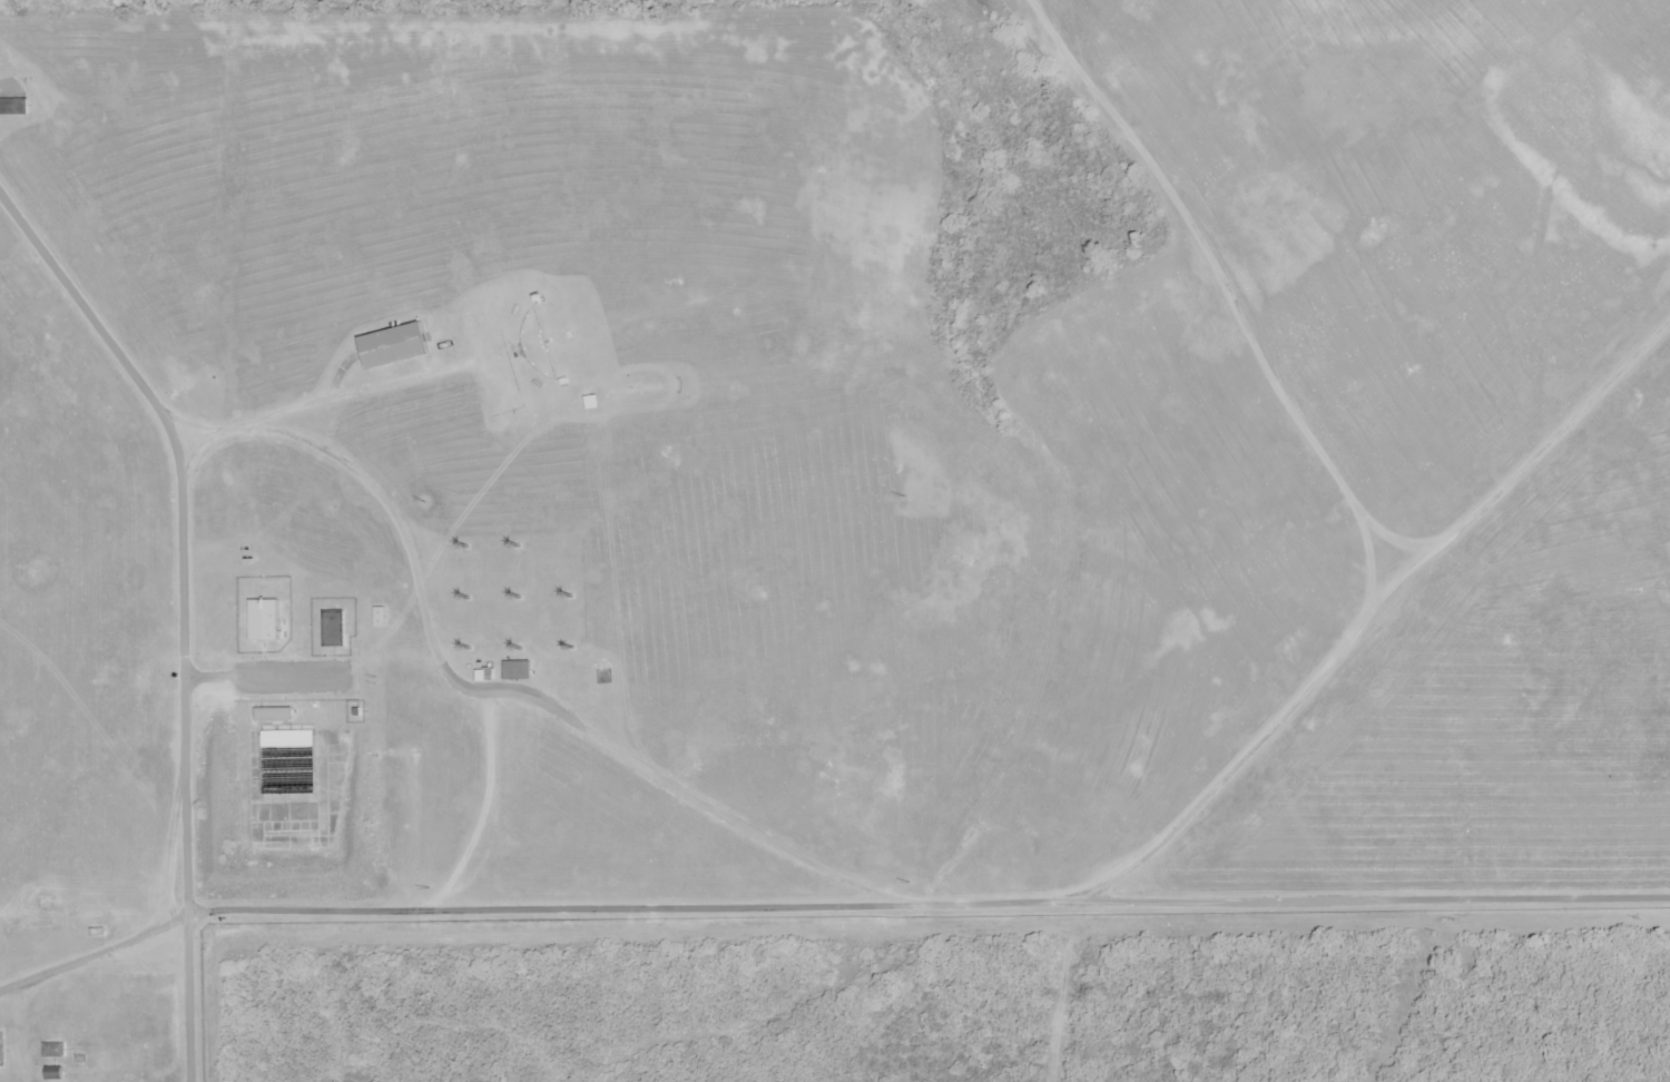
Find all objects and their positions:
building: (396, 346)
road: (1466, 533)
road: (181, 609)
building: (381, 619)
building: (269, 621)
building: (338, 629)
building: (519, 670)
building: (483, 677)
building: (275, 715)
road: (598, 737)
building: (291, 765)
road: (755, 906)

